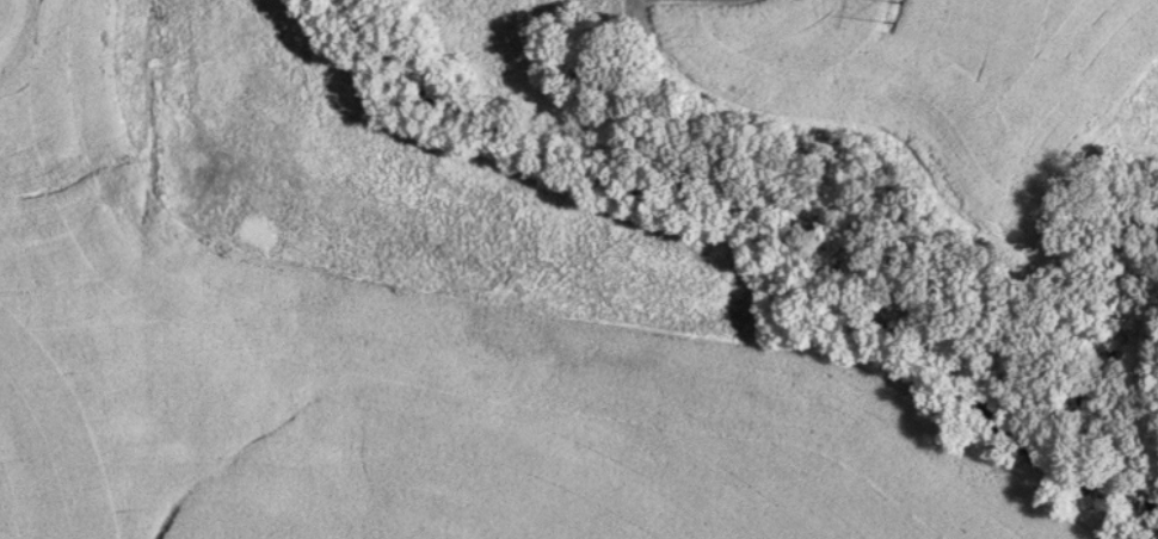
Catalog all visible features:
power tower: (893, 11)

